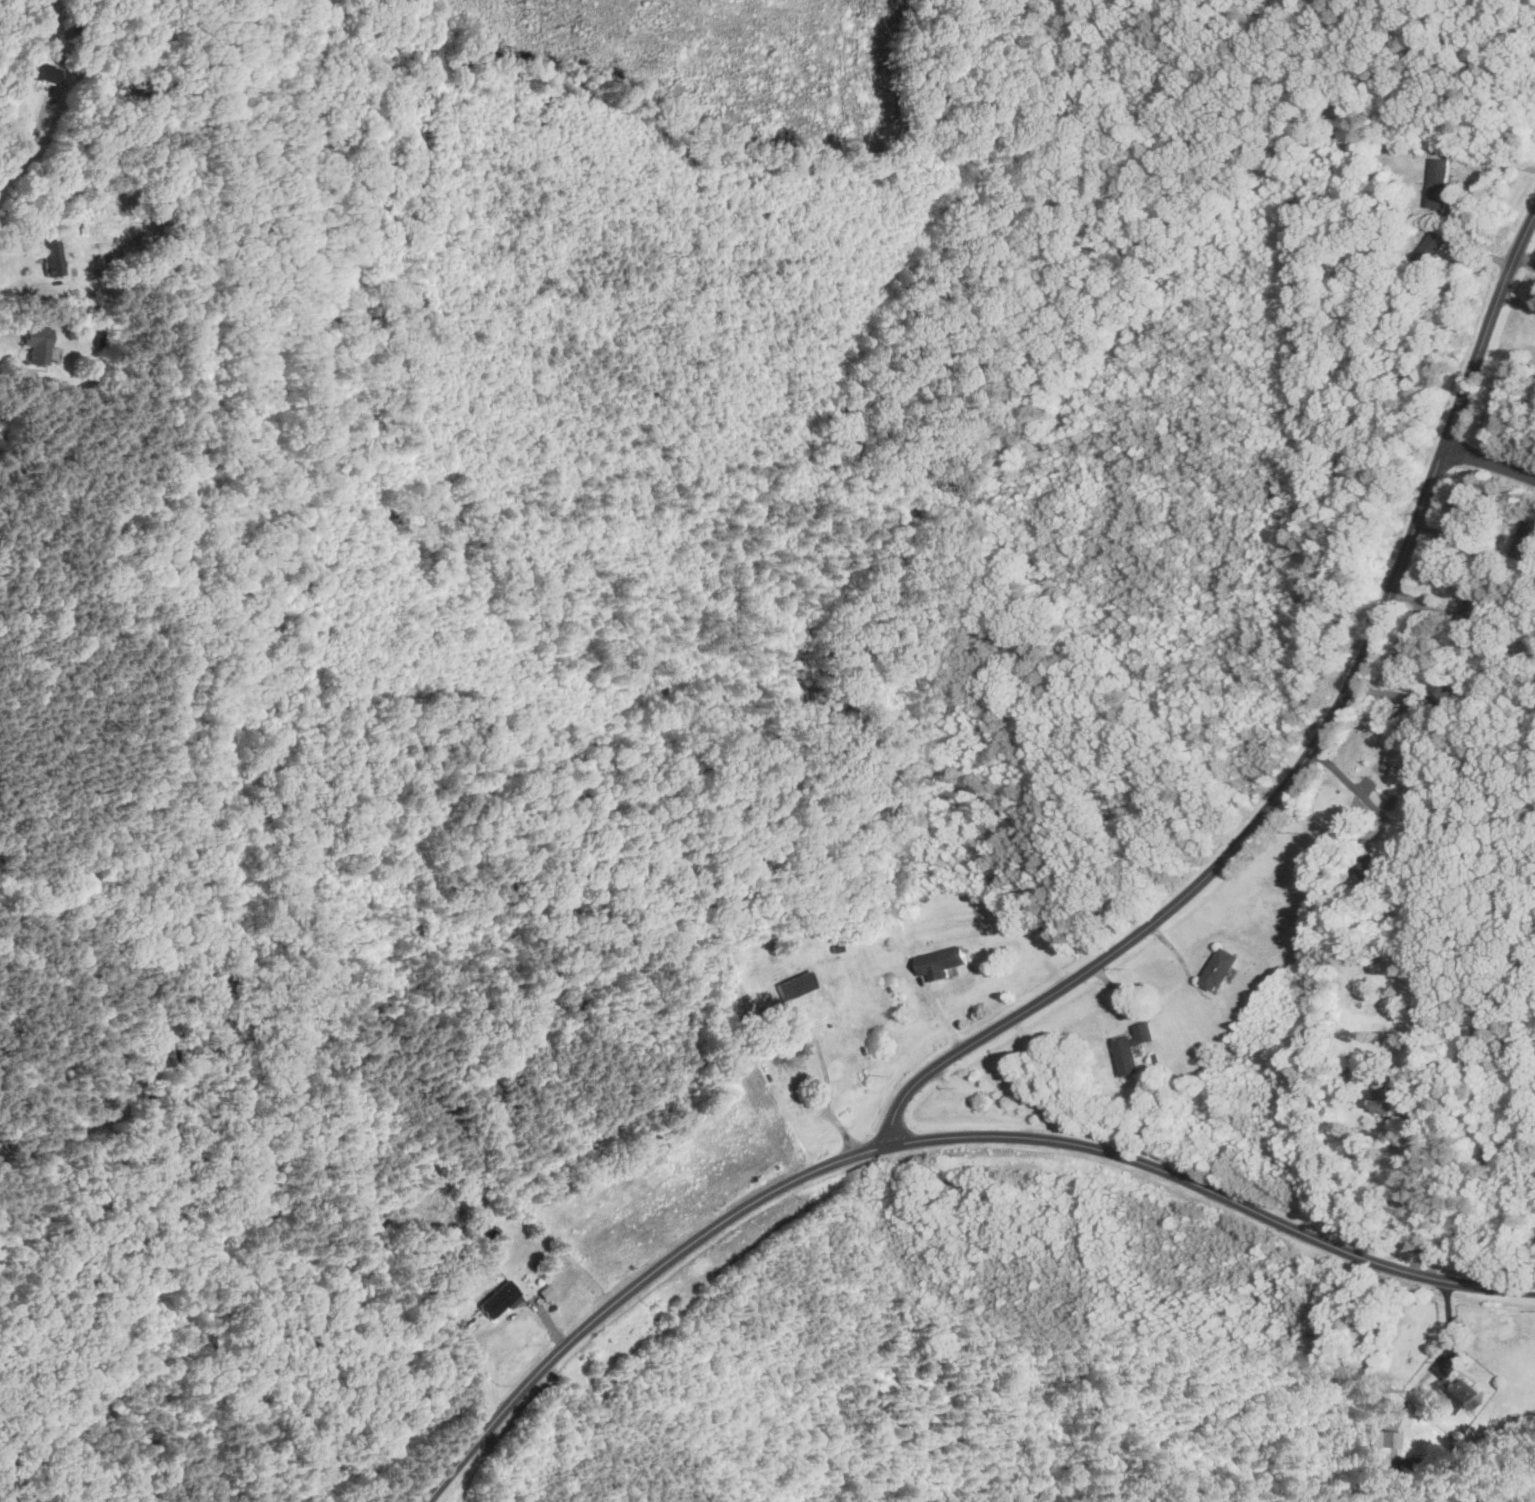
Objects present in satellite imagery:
building: (43, 73)
road: (30, 138)
building: (1437, 183)
building: (1428, 249)
building: (50, 257)
road: (17, 277)
building: (34, 345)
road: (13, 375)
road: (1489, 460)
building: (1524, 541)
building: (1475, 607)
building: (1442, 688)
road: (1308, 753)
road: (1348, 781)
building: (1367, 867)
building: (940, 962)
building: (1217, 970)
building: (794, 985)
building: (1130, 1049)
road: (1522, 1087)
road: (826, 1099)
building: (1381, 1100)
road: (927, 1138)
building: (953, 1186)
road: (1419, 1197)
building: (497, 1300)
building: (1456, 1395)
building: (1376, 1443)

